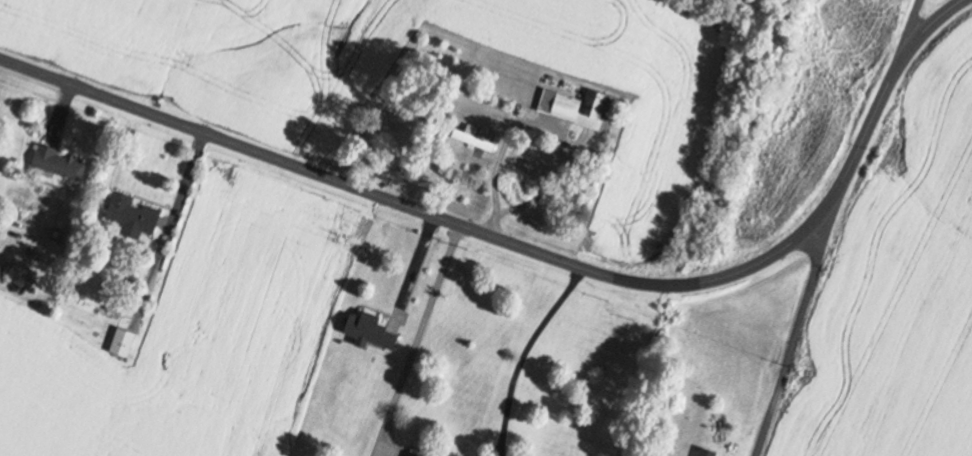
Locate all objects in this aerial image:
road: (913, 26)
road: (534, 249)
road: (801, 321)

